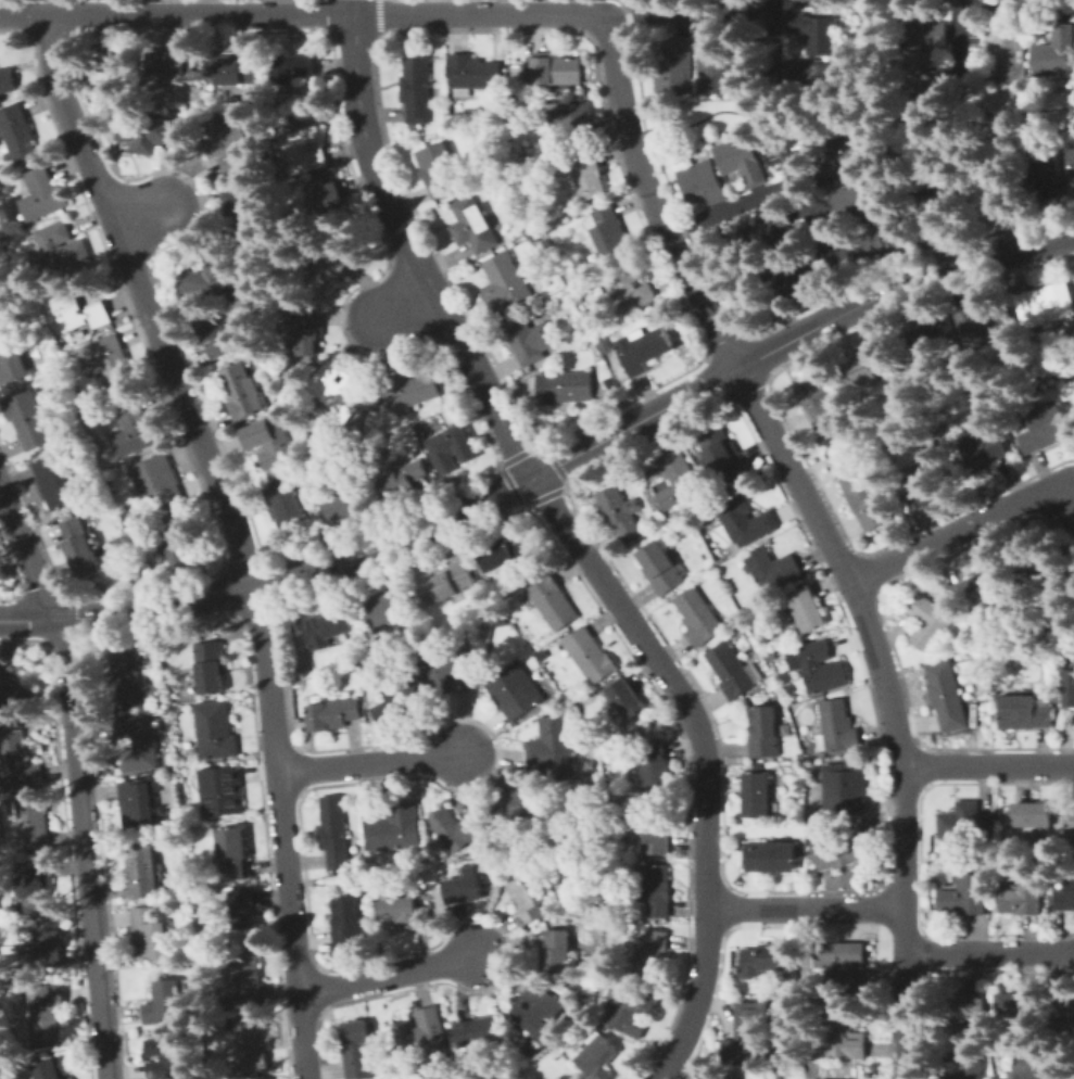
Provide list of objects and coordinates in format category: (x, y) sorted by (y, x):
building: (806, 0)
road: (1019, 1)
road: (379, 7)
road: (687, 14)
road: (301, 15)
building: (920, 29)
building: (813, 33)
road: (775, 36)
road: (963, 41)
building: (1054, 52)
building: (1006, 53)
building: (167, 64)
building: (674, 65)
building: (115, 66)
building: (715, 66)
building: (233, 68)
building: (292, 68)
building: (556, 69)
building: (516, 72)
building: (924, 73)
building: (472, 75)
building: (816, 76)
building: (8, 80)
building: (416, 88)
building: (560, 93)
building: (513, 100)
road: (963, 104)
road: (849, 114)
building: (578, 124)
building: (452, 125)
road: (776, 127)
building: (144, 130)
building: (18, 134)
building: (231, 148)
building: (305, 150)
building: (851, 156)
building: (741, 160)
building: (437, 169)
building: (1069, 172)
building: (504, 176)
building: (589, 177)
building: (1044, 181)
building: (702, 183)
building: (987, 193)
building: (43, 195)
road: (808, 199)
building: (935, 200)
building: (860, 201)
building: (331, 203)
road: (732, 205)
building: (247, 211)
building: (549, 214)
road: (149, 217)
building: (472, 226)
building: (768, 232)
building: (609, 233)
building: (532, 237)
building: (880, 245)
road: (409, 247)
building: (62, 249)
building: (330, 270)
building: (785, 274)
building: (210, 276)
building: (504, 282)
building: (793, 283)
building: (1073, 285)
building: (631, 290)
building: (579, 301)
road: (403, 302)
building: (1046, 304)
building: (70, 308)
building: (100, 315)
building: (0, 320)
building: (984, 320)
building: (304, 332)
building: (215, 335)
building: (927, 335)
building: (529, 339)
building: (642, 350)
building: (252, 355)
building: (865, 364)
building: (11, 365)
building: (115, 365)
building: (332, 385)
building: (565, 388)
building: (409, 391)
building: (243, 392)
building: (287, 401)
building: (819, 406)
building: (29, 420)
building: (1044, 429)
building: (136, 431)
building: (270, 441)
building: (323, 442)
building: (451, 447)
building: (982, 452)
building: (720, 453)
road: (783, 456)
road: (549, 467)
building: (294, 468)
building: (159, 478)
building: (924, 478)
building: (402, 480)
building: (56, 482)
building: (679, 483)
building: (862, 495)
building: (345, 504)
building: (287, 509)
building: (618, 511)
building: (744, 521)
road: (960, 529)
road: (235, 534)
building: (181, 538)
building: (79, 549)
building: (505, 554)
building: (720, 561)
building: (660, 568)
building: (772, 569)
building: (142, 572)
building: (1050, 572)
building: (932, 575)
building: (447, 584)
building: (983, 586)
building: (553, 602)
building: (487, 606)
building: (388, 609)
building: (807, 609)
building: (698, 617)
building: (928, 621)
building: (292, 626)
building: (327, 627)
building: (366, 650)
building: (779, 653)
building: (590, 657)
building: (211, 667)
building: (818, 667)
building: (452, 668)
building: (732, 671)
building: (169, 673)
building: (126, 678)
building: (772, 686)
building: (1069, 688)
building: (514, 690)
building: (16, 694)
building: (946, 696)
building: (627, 699)
building: (401, 700)
building: (332, 713)
building: (1023, 713)
building: (836, 727)
building: (214, 731)
building: (763, 733)
building: (137, 741)
building: (552, 744)
road: (704, 758)
building: (18, 763)
road: (370, 763)
building: (655, 763)
road: (988, 766)
road: (78, 778)
building: (844, 789)
building: (220, 790)
building: (756, 795)
building: (516, 801)
building: (138, 802)
building: (1031, 814)
building: (1070, 821)
building: (33, 822)
building: (966, 822)
building: (396, 828)
building: (456, 828)
building: (652, 829)
building: (333, 833)
building: (584, 846)
building: (841, 849)
building: (232, 853)
building: (770, 856)
building: (142, 868)
building: (515, 868)
building: (37, 887)
building: (240, 887)
building: (464, 888)
building: (655, 889)
building: (528, 896)
building: (1022, 896)
building: (1065, 896)
building: (964, 897)
road: (805, 906)
building: (243, 909)
building: (404, 914)
building: (348, 926)
building: (149, 935)
building: (48, 948)
building: (557, 952)
road: (990, 952)
building: (650, 955)
building: (766, 960)
building: (844, 963)
building: (16, 972)
road: (391, 977)
building: (239, 978)
road: (907, 992)
building: (163, 1002)
building: (962, 1004)
building: (1019, 1006)
building: (628, 1008)
building: (538, 1010)
building: (46, 1012)
building: (1063, 1012)
building: (478, 1031)
building: (420, 1032)
building: (748, 1033)
building: (842, 1036)
building: (507, 1041)
building: (250, 1044)
building: (357, 1050)
building: (168, 1058)
building: (598, 1058)
building: (52, 1068)
building: (1037, 1068)
building: (966, 1069)
building: (720, 1076)
building: (571, 1077)

